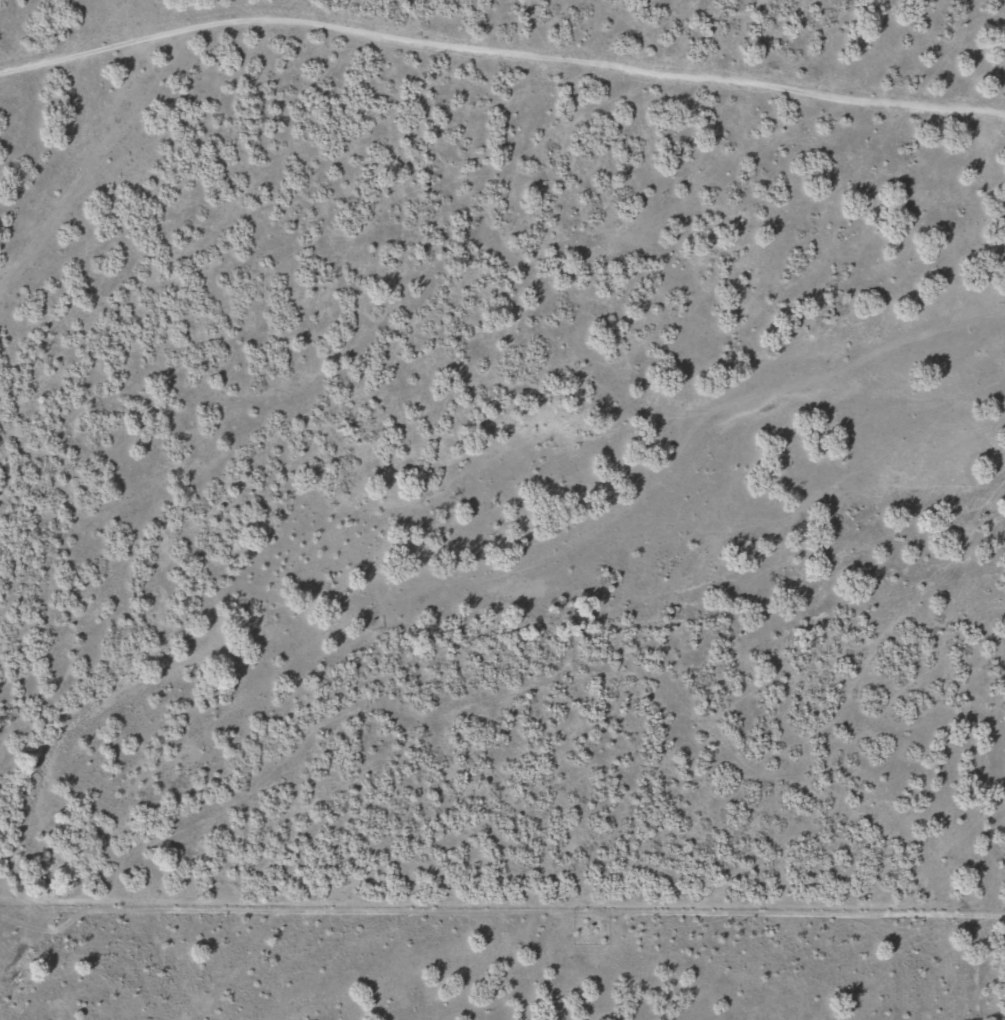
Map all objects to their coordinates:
road: (501, 56)

